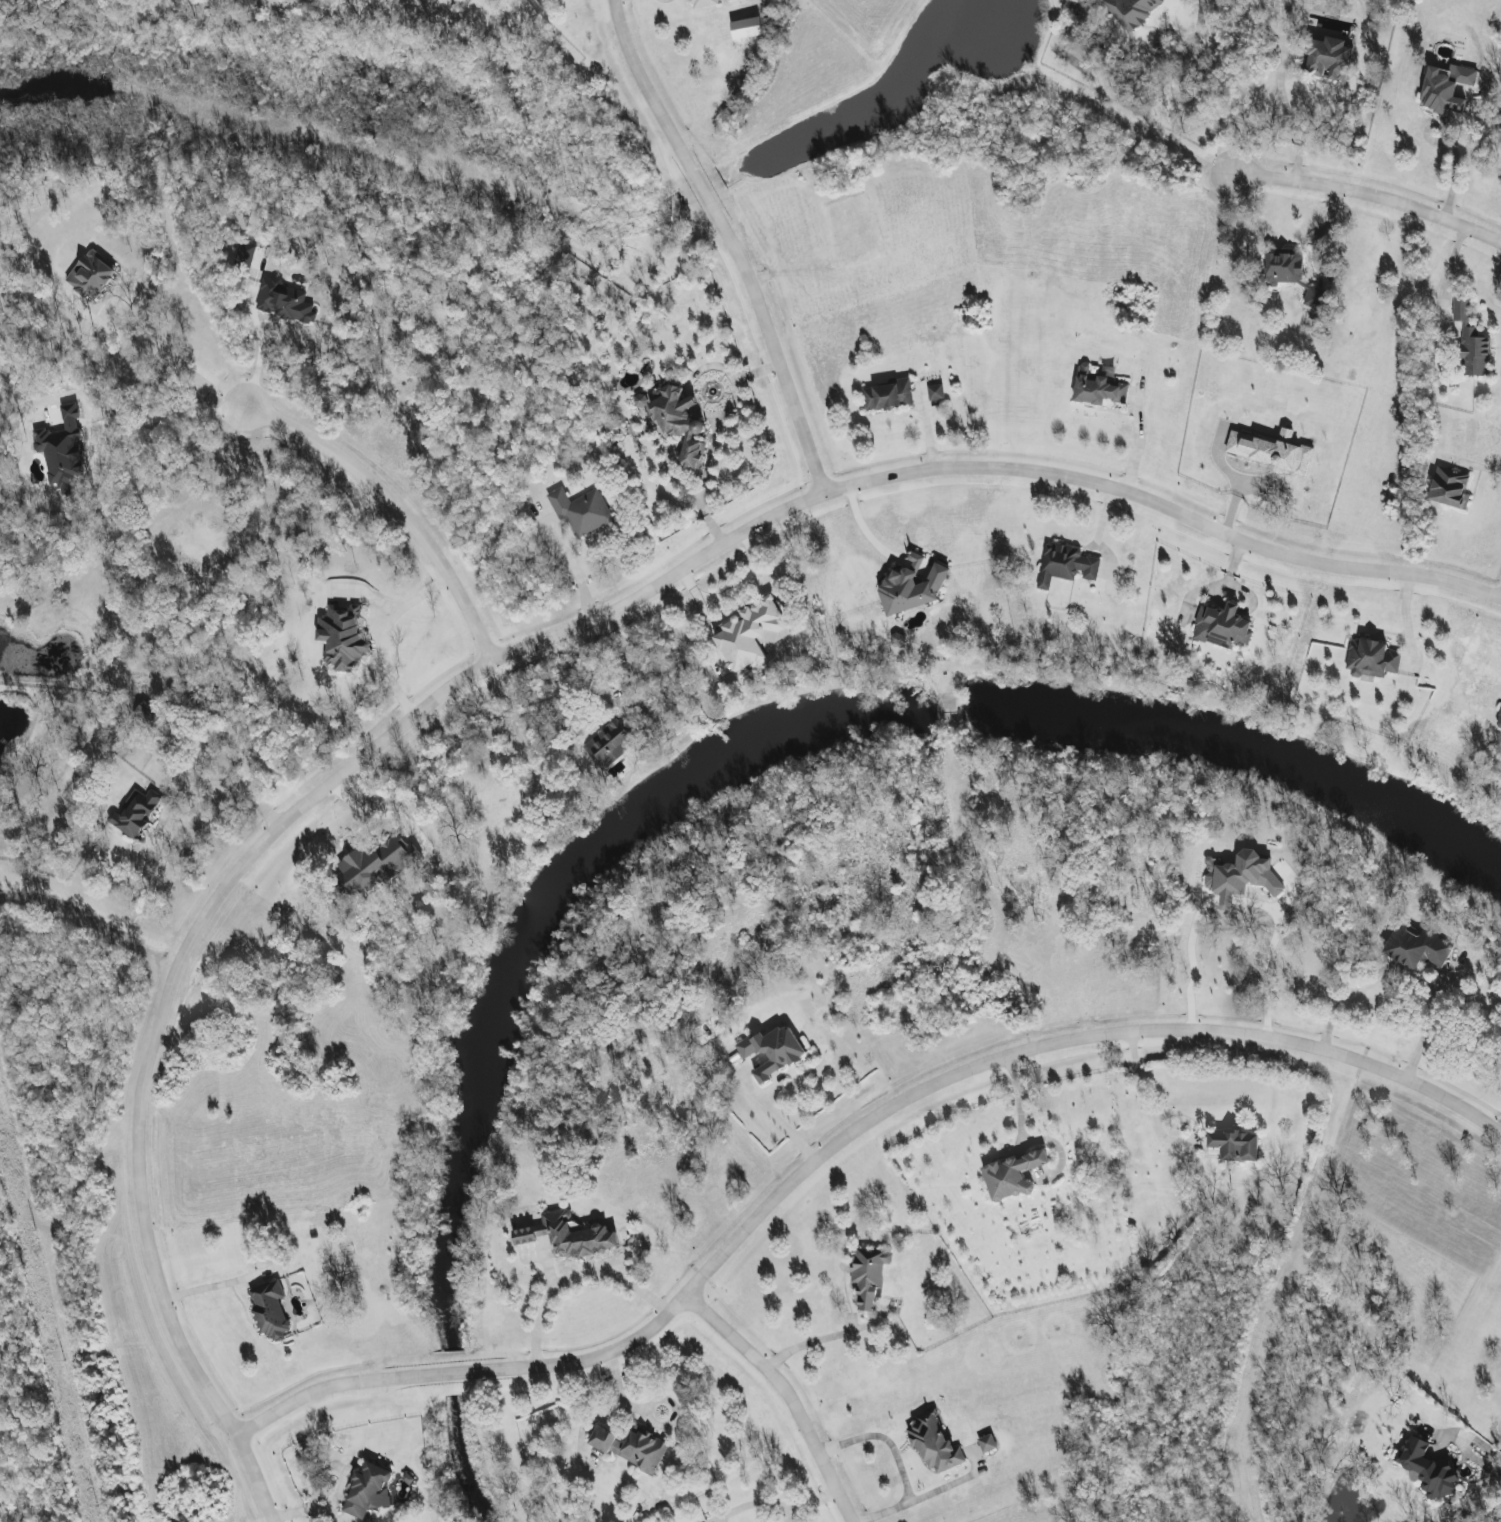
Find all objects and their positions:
building: (704, 2)
building: (537, 6)
building: (1132, 11)
building: (746, 28)
road: (1161, 54)
building: (1329, 58)
building: (1446, 88)
road: (1197, 90)
road: (1291, 119)
road: (1450, 144)
road: (1370, 196)
road: (1316, 232)
road: (728, 240)
building: (90, 275)
building: (1314, 297)
building: (284, 302)
road: (257, 343)
building: (1469, 345)
road: (153, 349)
building: (1098, 388)
building: (935, 393)
building: (888, 396)
building: (638, 401)
road: (163, 419)
building: (678, 422)
road: (714, 433)
road: (1138, 442)
building: (1273, 452)
road: (1234, 482)
building: (1448, 489)
road: (393, 505)
building: (580, 511)
road: (862, 529)
road: (1097, 533)
road: (573, 566)
building: (1065, 566)
road: (1219, 585)
building: (911, 588)
road: (1406, 621)
building: (1222, 627)
building: (751, 634)
road: (385, 635)
building: (342, 638)
road: (507, 651)
road: (625, 654)
building: (1371, 659)
building: (1499, 725)
river: (782, 729)
building: (609, 744)
road: (223, 778)
building: (135, 814)
road: (369, 817)
building: (376, 865)
building: (1240, 877)
road: (1239, 900)
building: (1418, 948)
road: (1404, 973)
building: (772, 1052)
road: (1015, 1097)
road: (1142, 1100)
road: (774, 1118)
road: (842, 1139)
building: (1235, 1147)
building: (1012, 1177)
building: (524, 1235)
building: (575, 1236)
building: (868, 1275)
road: (574, 1279)
road: (213, 1282)
building: (269, 1310)
road: (822, 1334)
river: (453, 1372)
road: (619, 1395)
road: (785, 1395)
building: (987, 1443)
building: (935, 1444)
building: (630, 1447)
river: (473, 1458)
road: (903, 1458)
road: (1482, 1460)
building: (1428, 1468)
building: (367, 1491)
road: (812, 1501)
road: (751, 1504)
road: (787, 1516)

